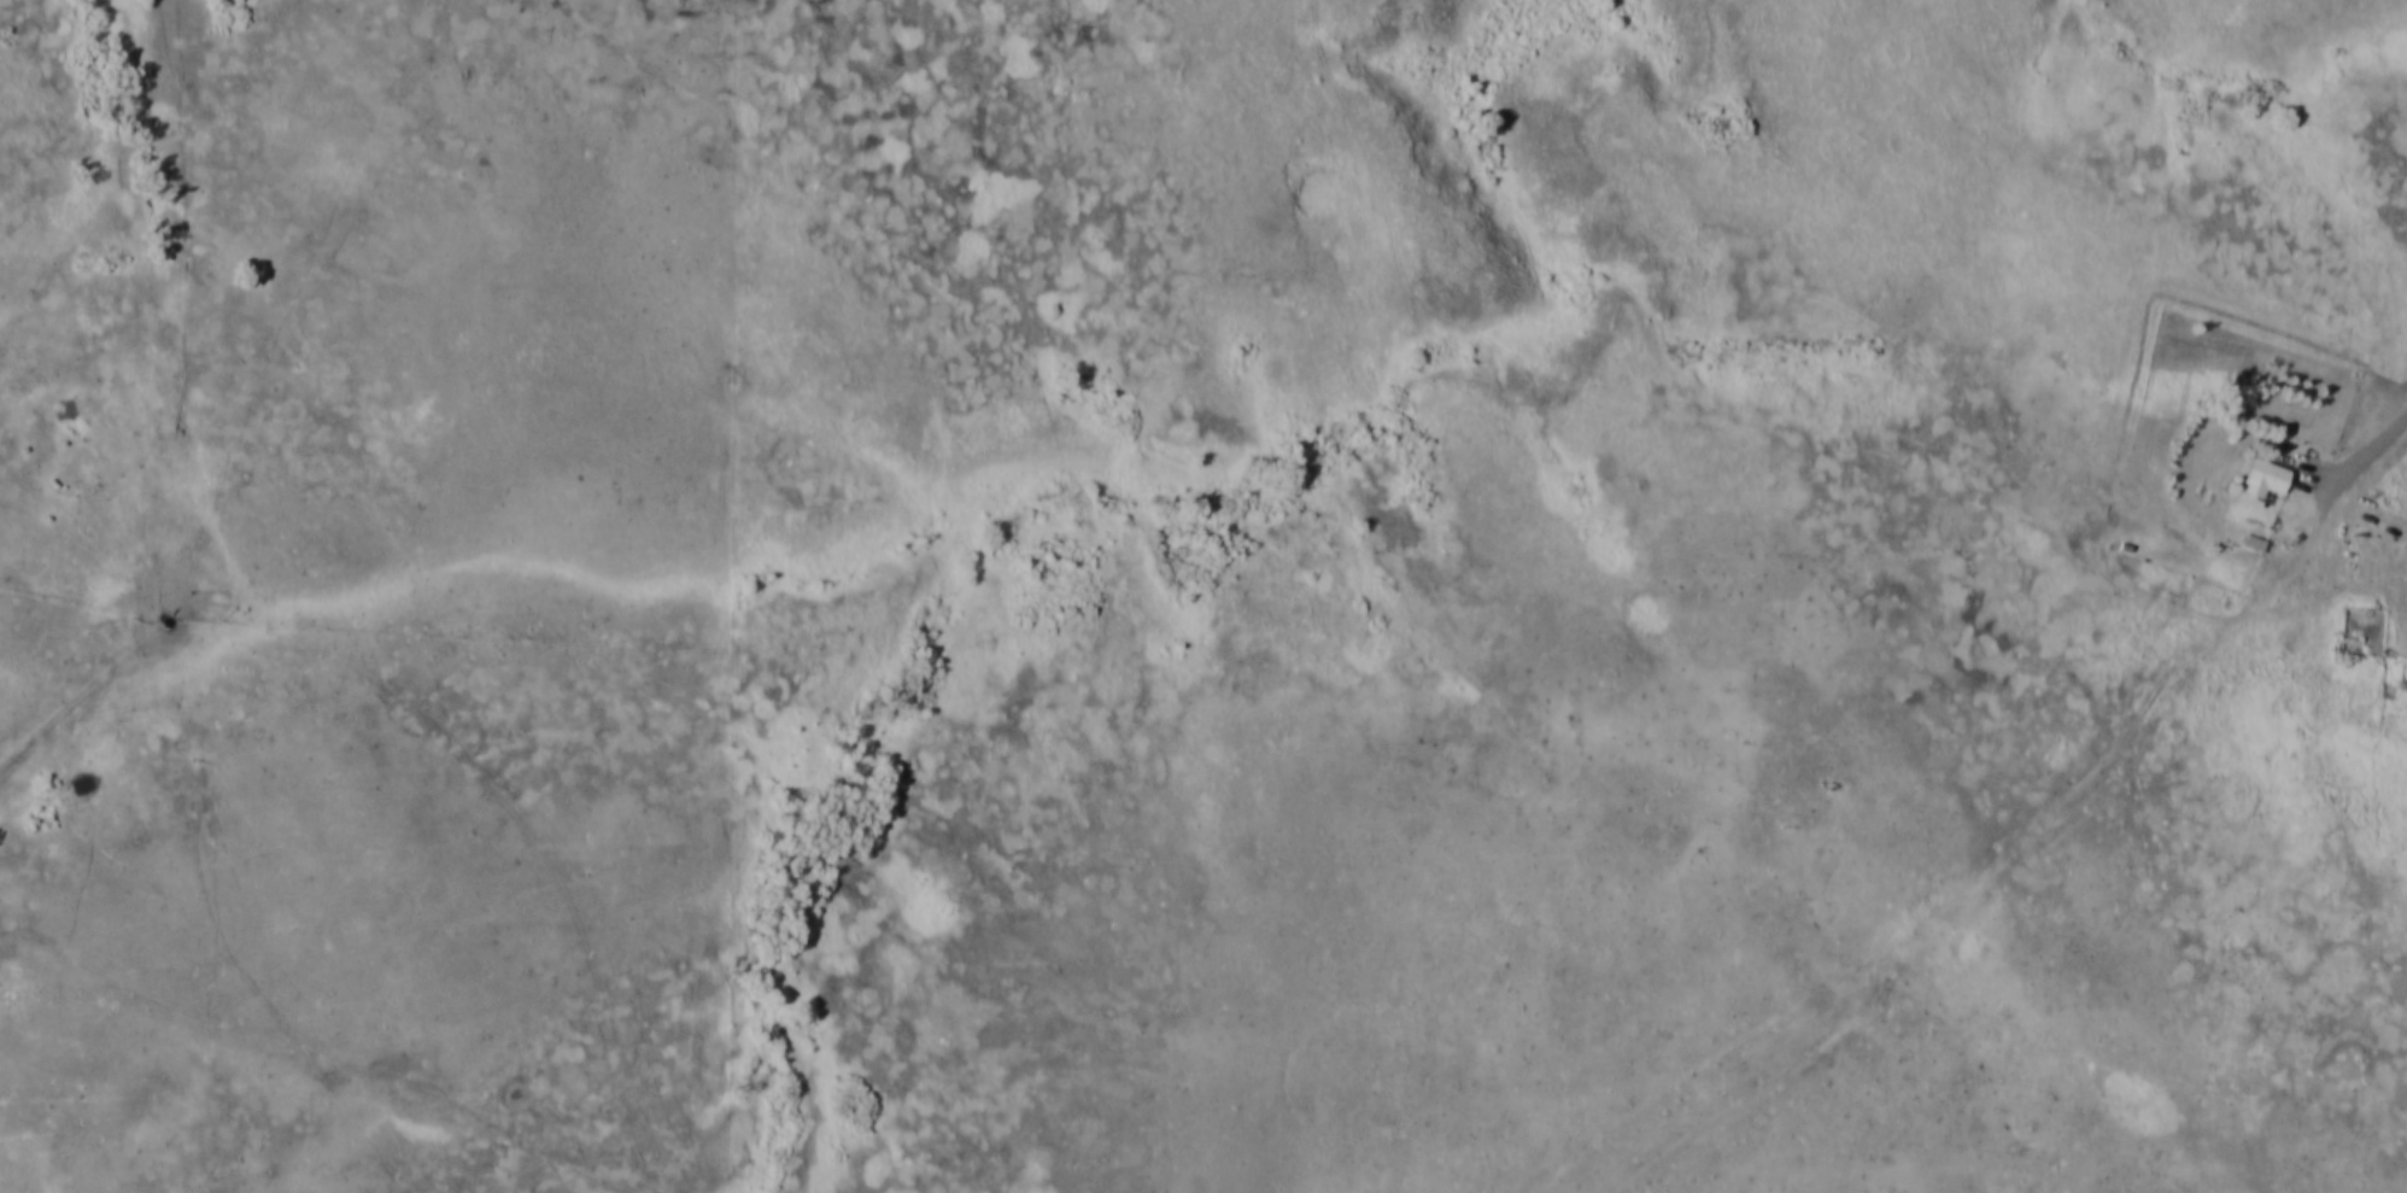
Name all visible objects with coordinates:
road: (2362, 457)
building: (2255, 476)

